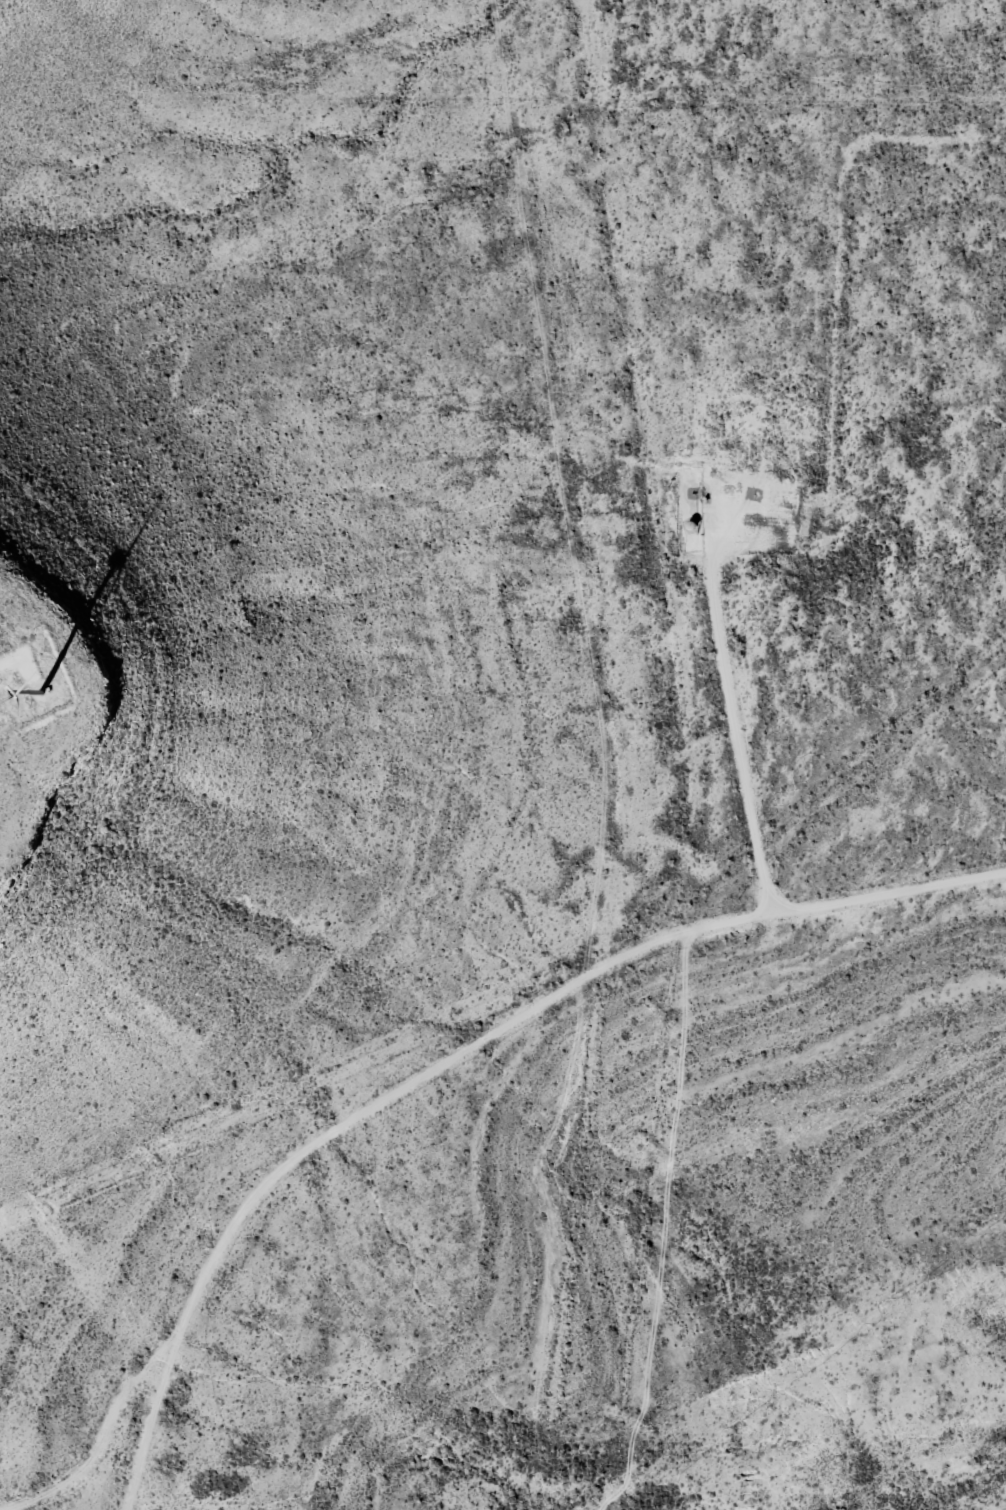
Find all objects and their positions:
wind turbine: (32, 704)

